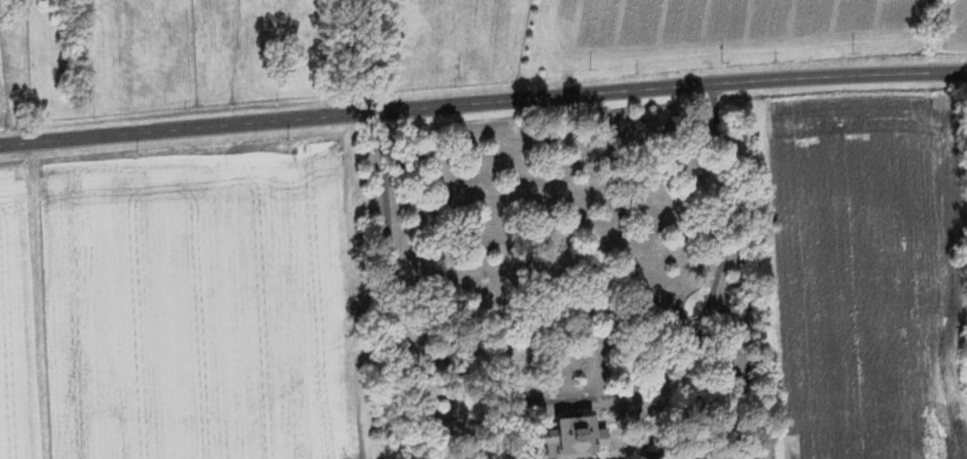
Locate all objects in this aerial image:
road: (354, 54)
road: (482, 97)
road: (41, 299)
road: (569, 396)
building: (585, 433)

